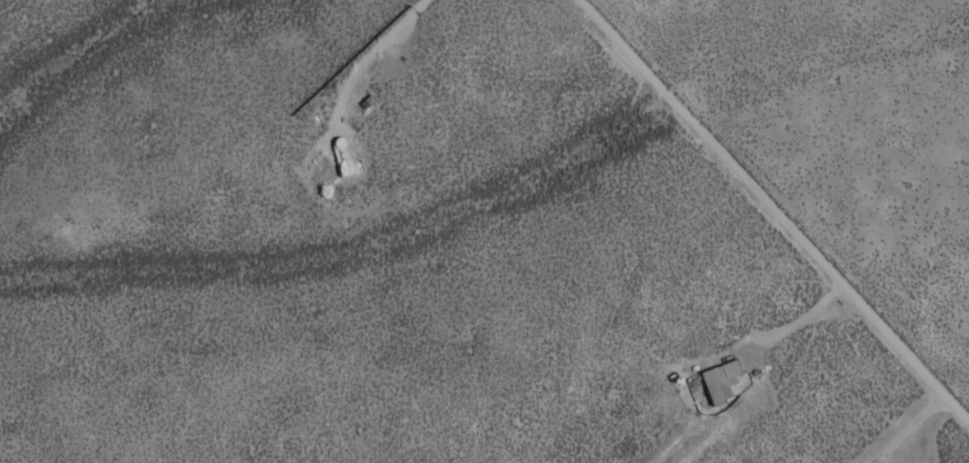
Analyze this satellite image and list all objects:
road: (772, 212)

